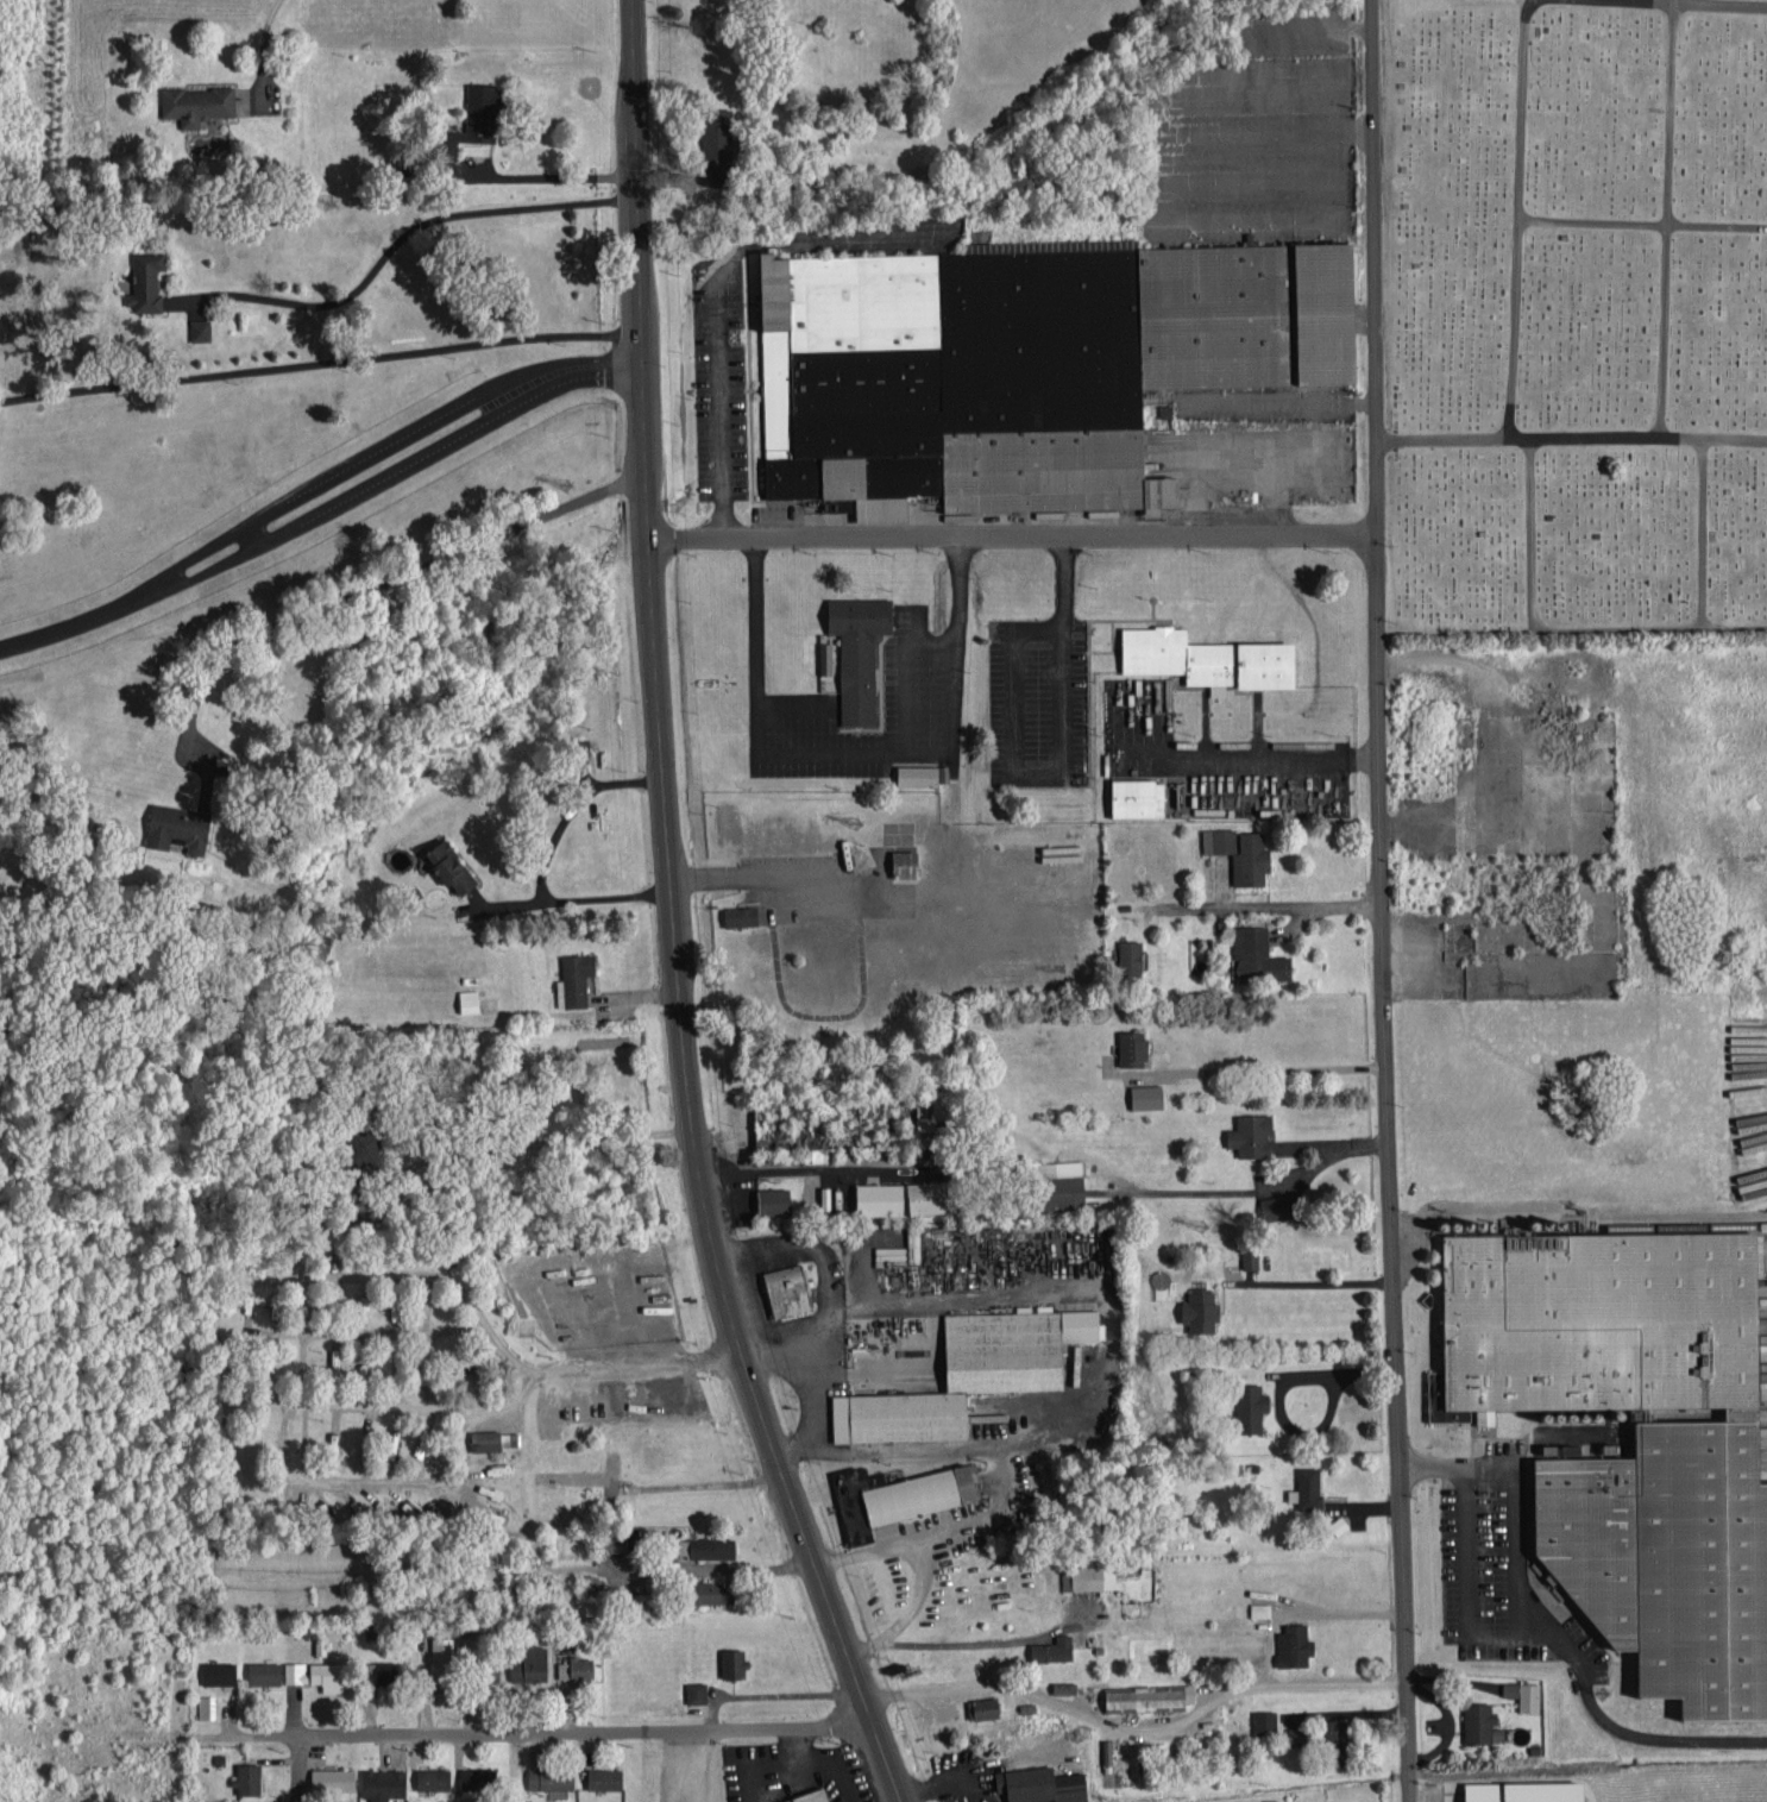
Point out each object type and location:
road: (1686, 1)
road: (627, 7)
road: (265, 40)
building: (197, 102)
building: (482, 111)
building: (724, 145)
road: (1520, 216)
road: (1667, 218)
road: (1642, 225)
road: (411, 230)
building: (150, 280)
road: (718, 288)
park: (1577, 314)
building: (201, 328)
building: (1031, 363)
road: (1571, 438)
road: (316, 501)
road: (1704, 534)
road: (1010, 535)
road: (1557, 630)
building: (860, 652)
building: (825, 657)
building: (1211, 658)
building: (924, 773)
building: (1139, 797)
building: (180, 827)
building: (1241, 852)
building: (906, 862)
building: (452, 865)
road: (1385, 900)
road: (1298, 905)
building: (741, 915)
road: (667, 924)
building: (1258, 954)
building: (1131, 959)
building: (574, 978)
building: (470, 998)
building: (1133, 1046)
building: (1753, 1090)
building: (1146, 1094)
building: (937, 1120)
building: (1253, 1132)
building: (363, 1143)
building: (1755, 1173)
building: (1064, 1181)
building: (826, 1195)
building: (908, 1195)
building: (773, 1199)
building: (1281, 1205)
road: (1472, 1212)
building: (1251, 1256)
building: (647, 1257)
building: (652, 1275)
building: (787, 1288)
building: (658, 1295)
building: (246, 1304)
building: (394, 1307)
building: (1200, 1308)
building: (276, 1310)
building: (287, 1311)
road: (1109, 1320)
building: (364, 1364)
road: (873, 1371)
building: (973, 1371)
road: (817, 1390)
building: (1251, 1405)
building: (1635, 1432)
building: (486, 1438)
building: (422, 1440)
building: (1576, 1448)
building: (1308, 1487)
building: (924, 1492)
building: (410, 1508)
building: (883, 1528)
building: (713, 1546)
road: (916, 1549)
building: (502, 1555)
building: (1089, 1574)
building: (718, 1589)
building: (1262, 1608)
road: (906, 1643)
building: (1295, 1643)
road: (1528, 1646)
building: (1054, 1647)
building: (442, 1655)
building: (735, 1660)
building: (532, 1663)
building: (578, 1666)
building: (219, 1671)
building: (264, 1671)
building: (391, 1671)
building: (317, 1672)
building: (1064, 1685)
building: (697, 1690)
building: (1523, 1693)
building: (1151, 1695)
building: (206, 1704)
building: (983, 1706)
building: (1265, 1721)
building: (1482, 1721)
building: (947, 1727)
road: (571, 1731)
building: (1340, 1731)
building: (1300, 1733)
building: (1106, 1753)
building: (1119, 1756)
building: (536, 1757)
building: (1132, 1763)
road: (696, 1764)
road: (298, 1769)
building: (478, 1776)
building: (247, 1777)
building: (434, 1777)
building: (552, 1777)
building: (606, 1777)
building: (334, 1778)
building: (383, 1782)
building: (1043, 1783)
building: (1528, 1790)
building: (811, 1795)

